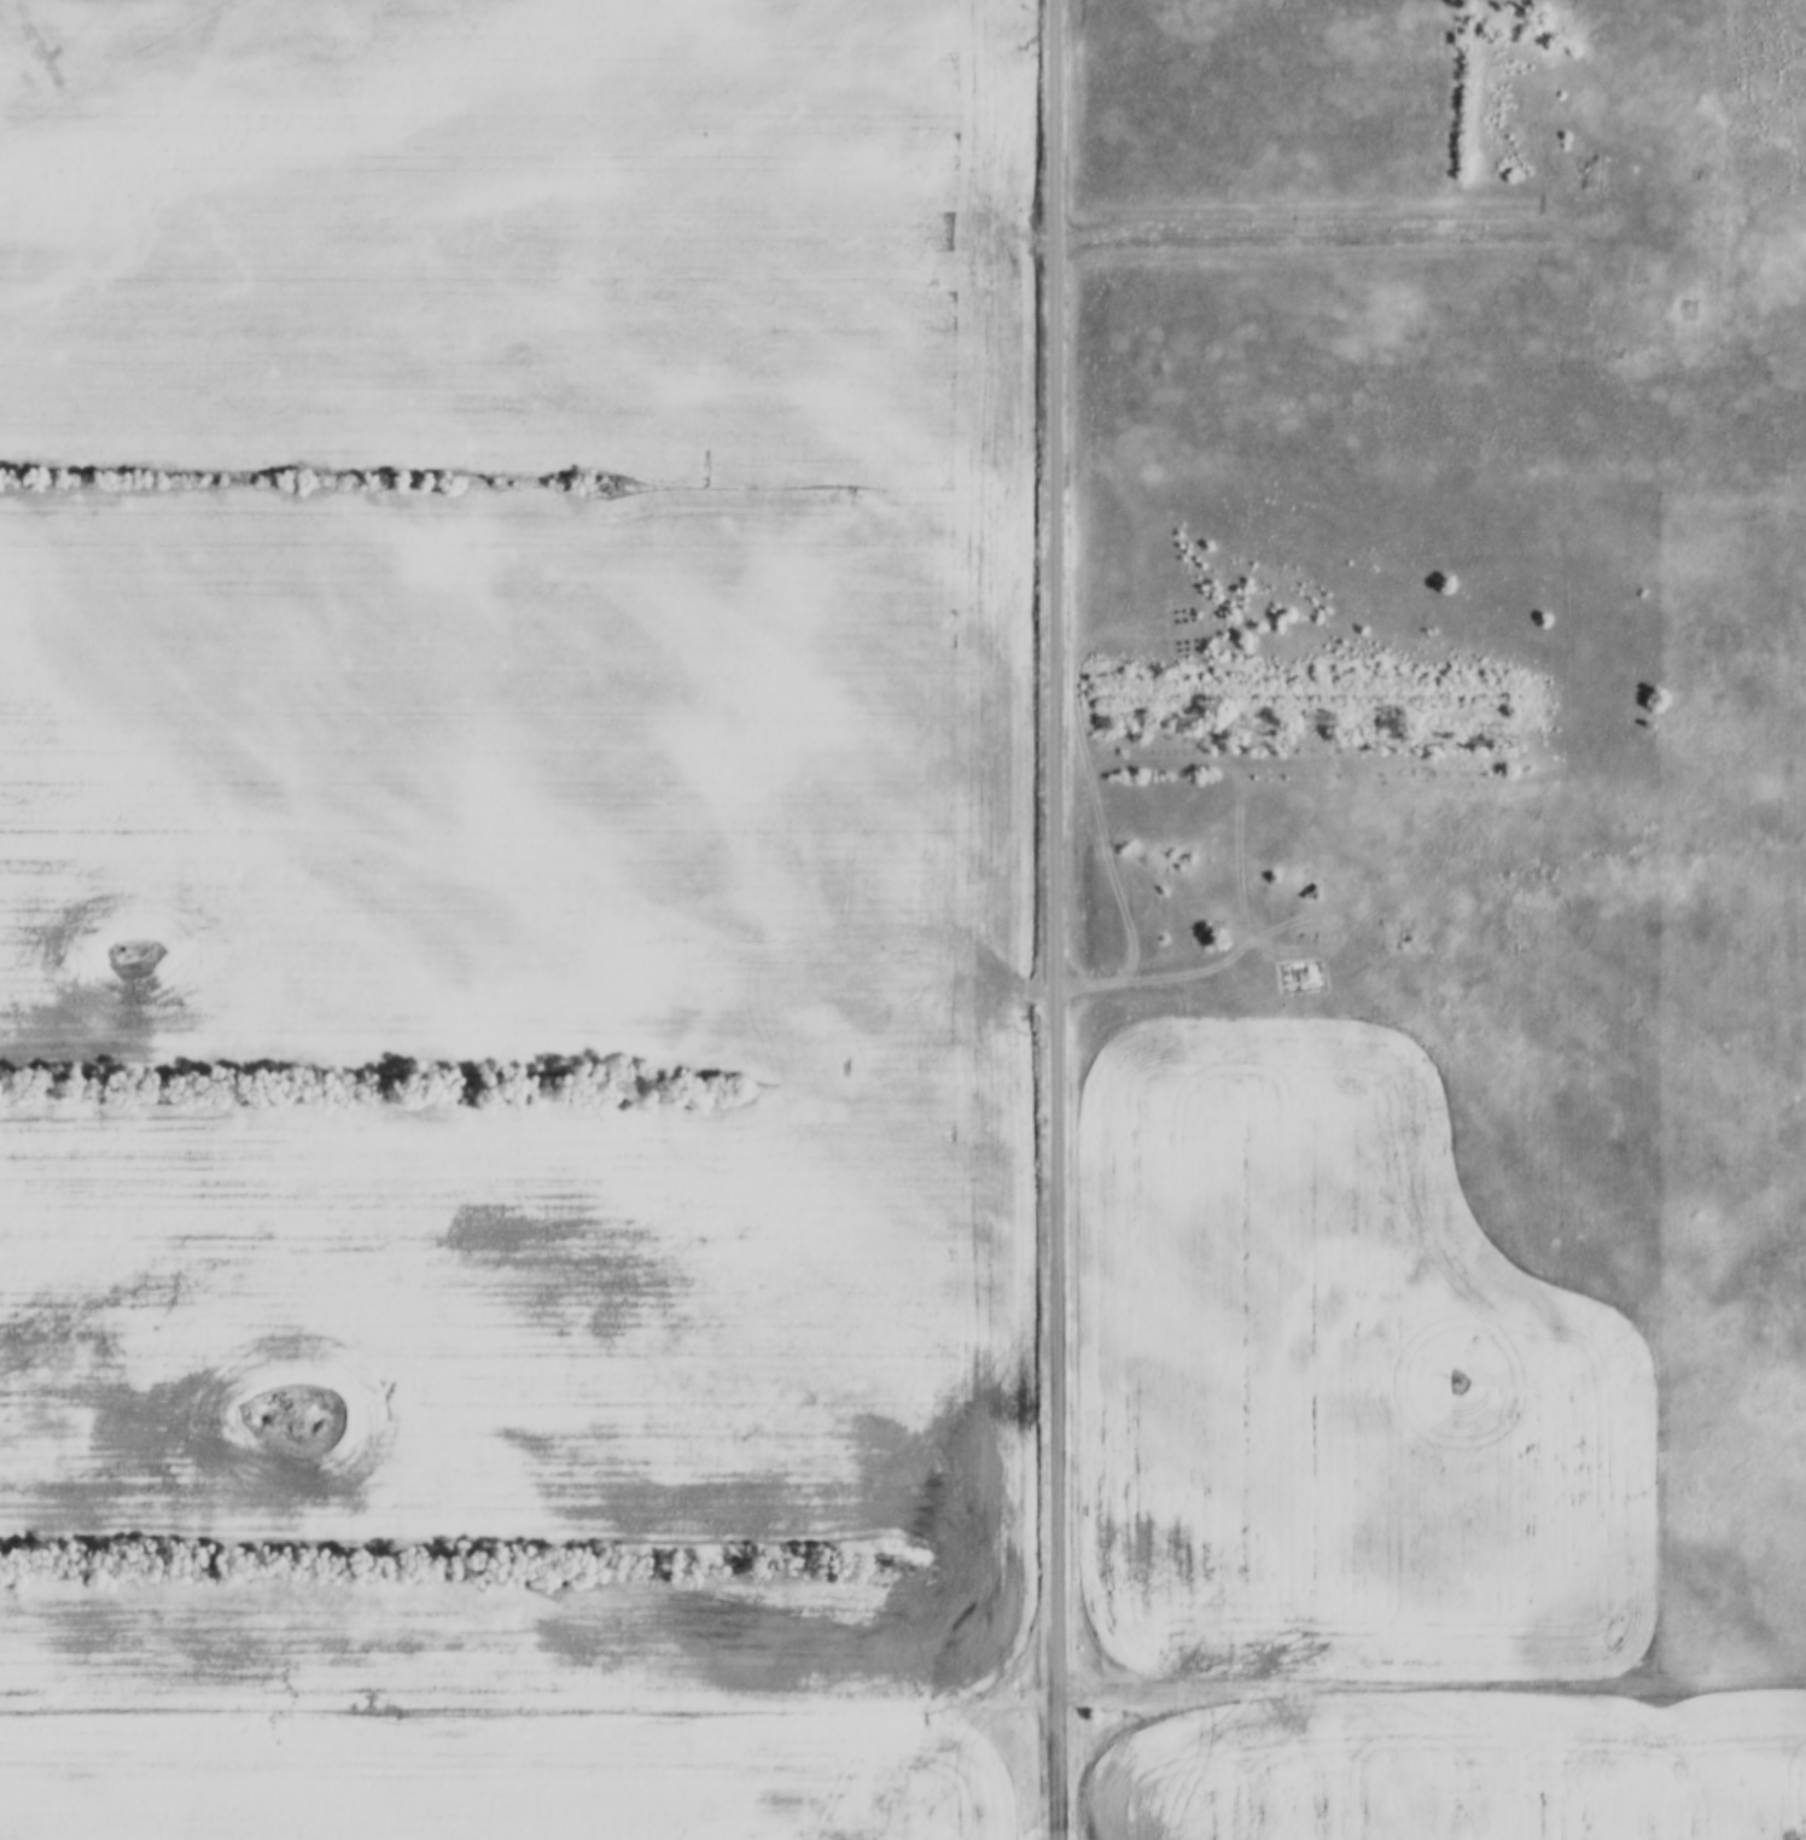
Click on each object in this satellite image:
road: (1335, 227)
road: (1054, 848)
road: (903, 1693)
road: (1056, 1768)

